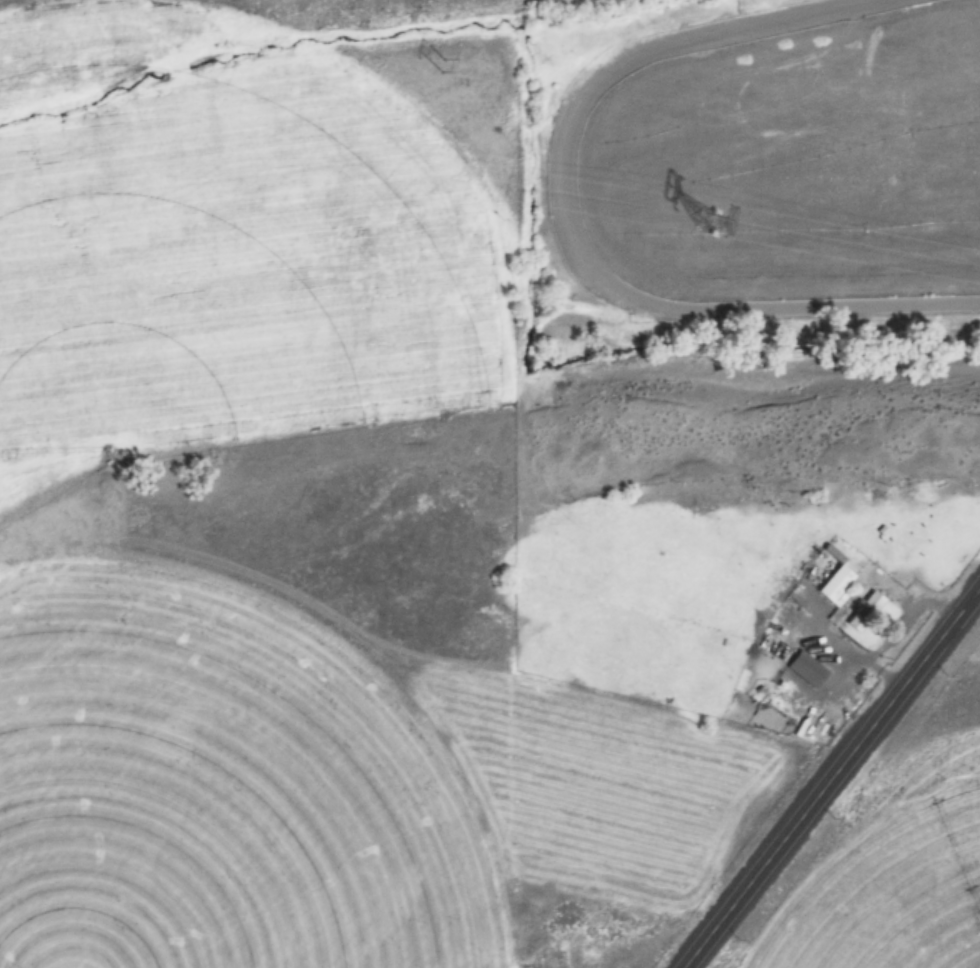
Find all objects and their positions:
power tower: (440, 67)
power tower: (702, 222)
building: (834, 584)
building: (864, 611)
building: (805, 669)
road: (829, 776)

